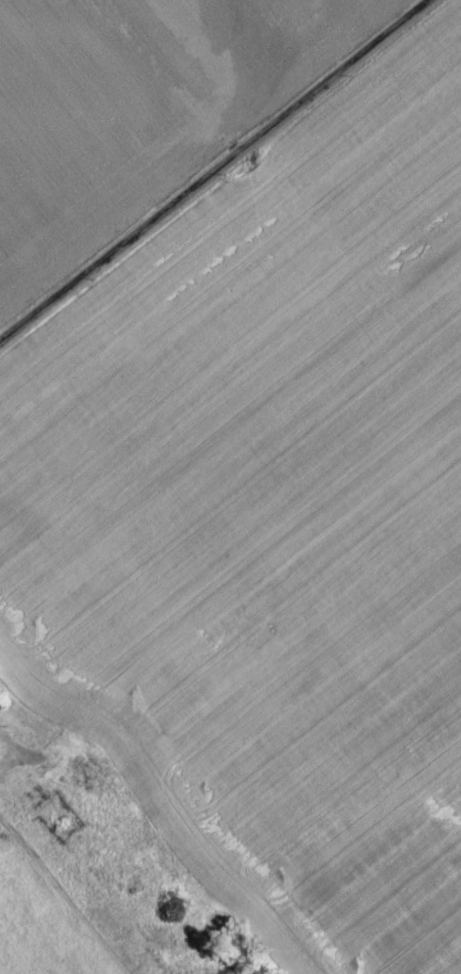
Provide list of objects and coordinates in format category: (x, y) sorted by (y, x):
road: (219, 176)
road: (104, 491)
road: (2, 753)

